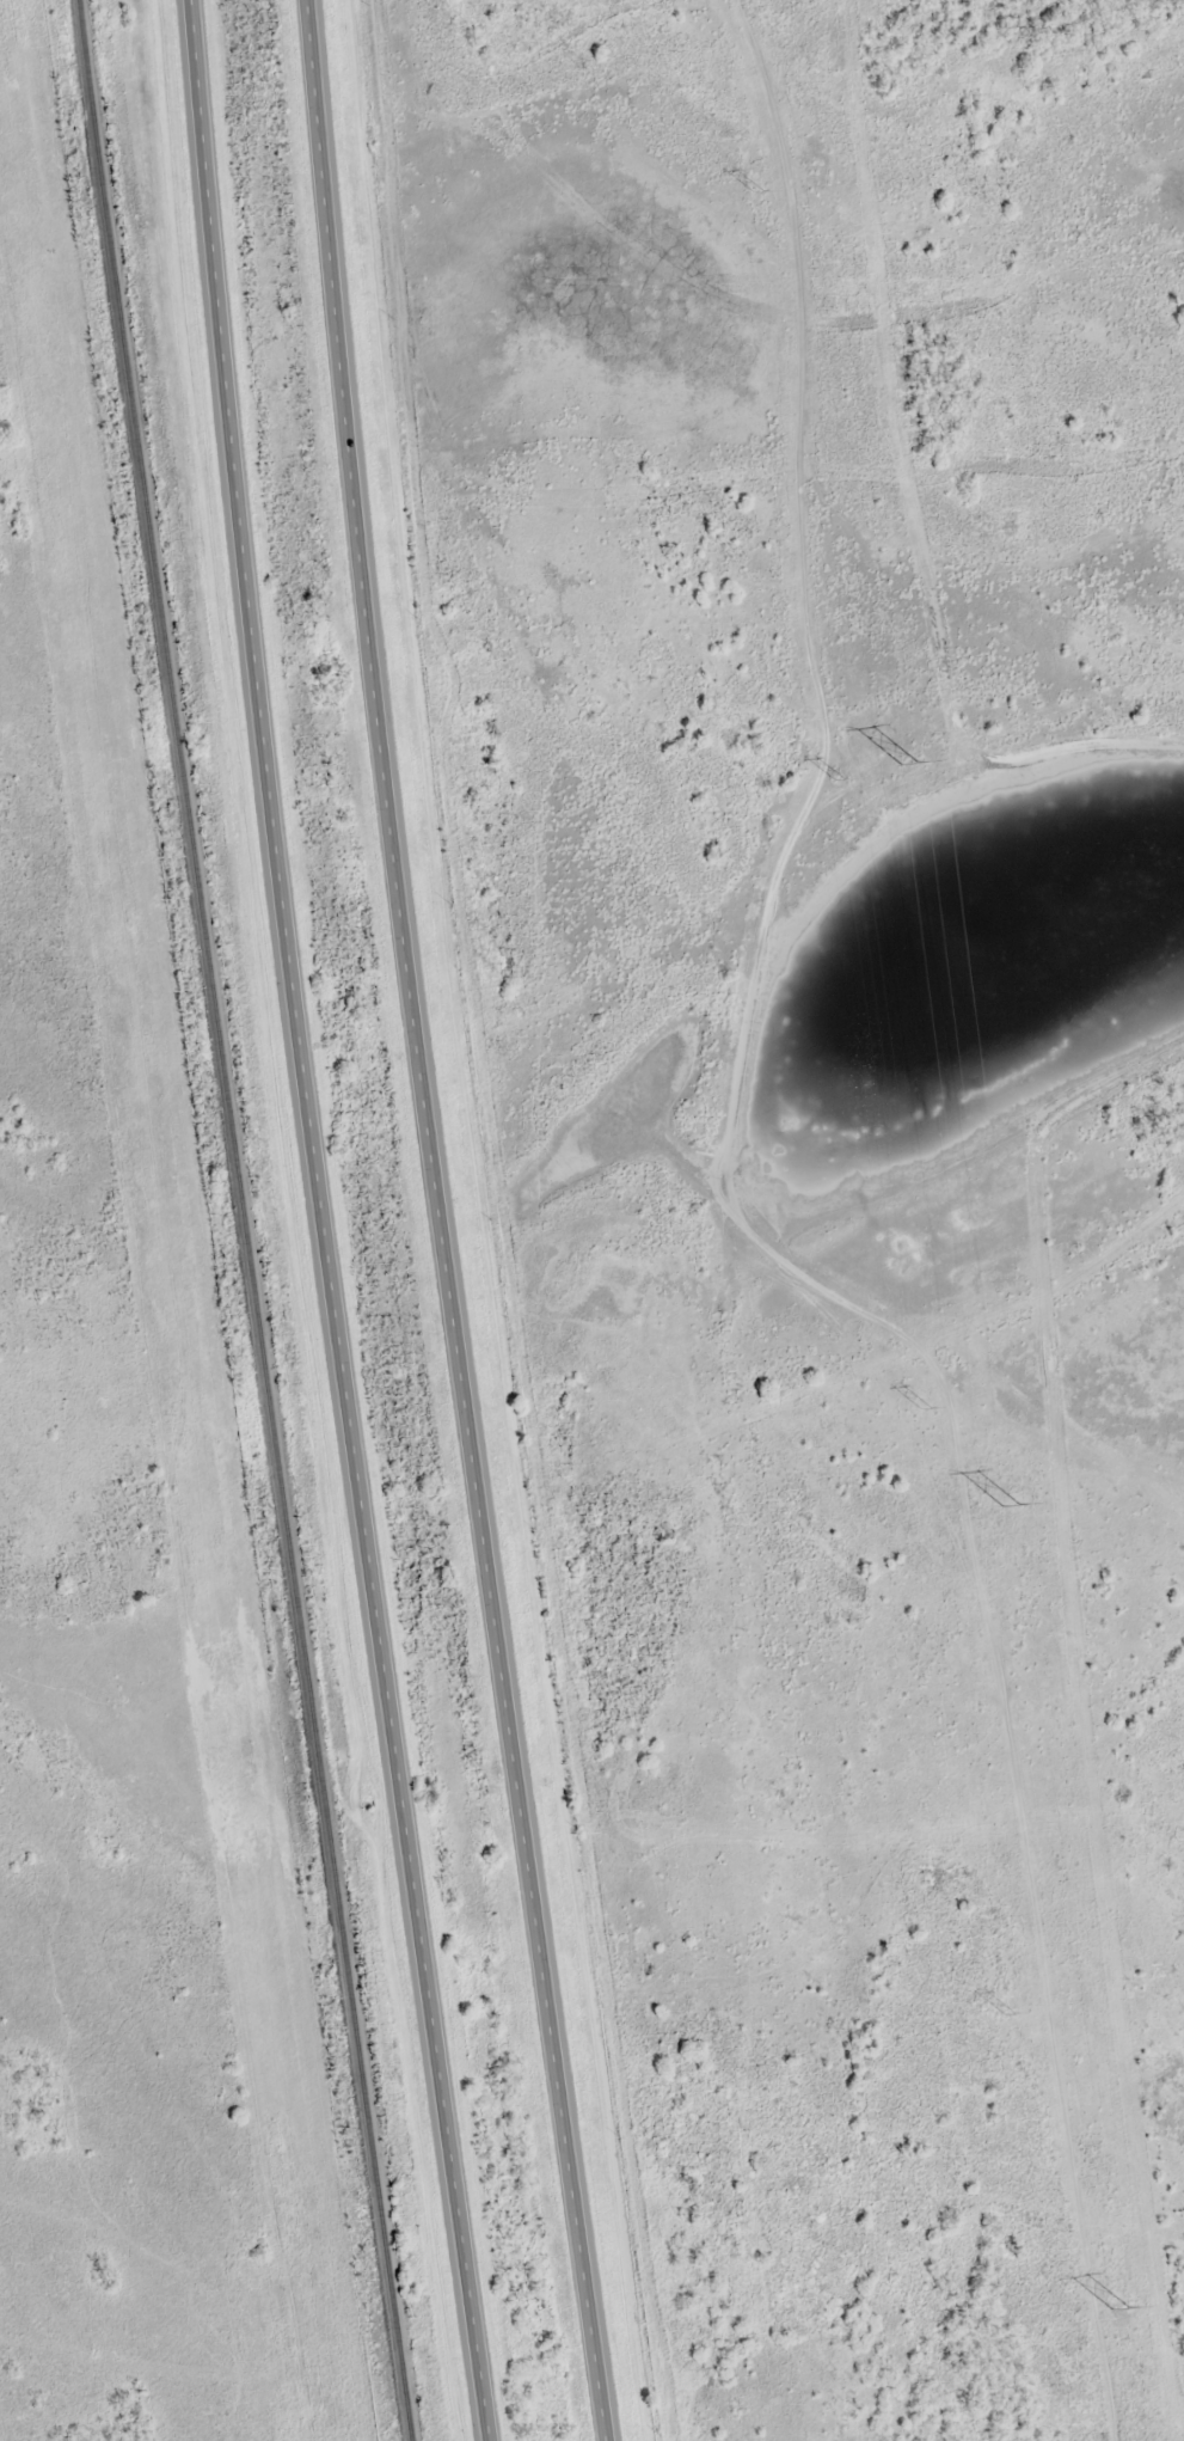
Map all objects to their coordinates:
power tower: (756, 192)
power tower: (908, 765)
power tower: (838, 778)
railway: (245, 1219)
road: (331, 1222)
road: (446, 1222)
power tower: (924, 1407)
power tower: (1007, 1506)
road: (1119, 1859)
power tower: (1007, 2013)
power tower: (1118, 2312)

